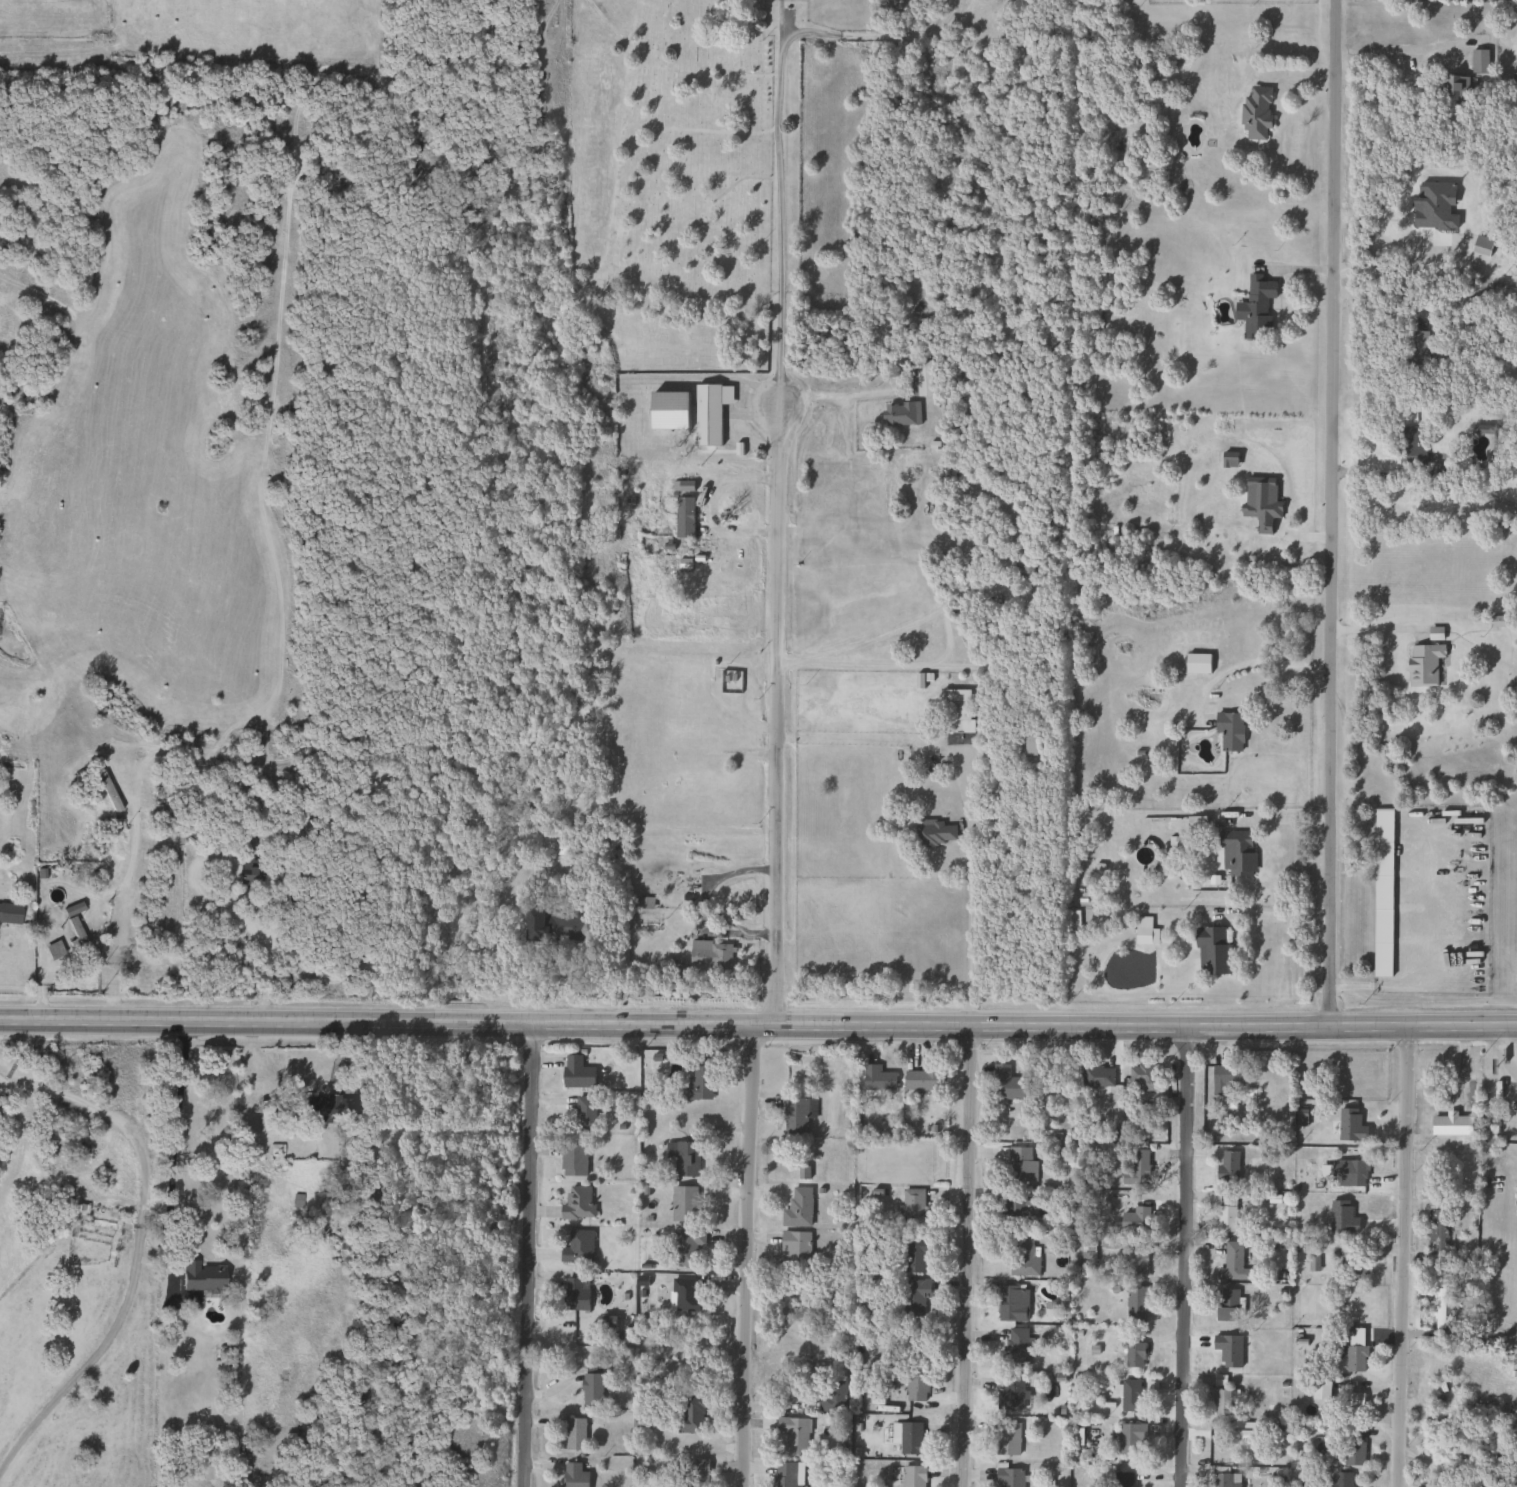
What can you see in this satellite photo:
road: (880, 35)
road: (1398, 48)
building: (1477, 61)
building: (1451, 86)
building: (1255, 113)
road: (1382, 290)
building: (1256, 306)
building: (1089, 310)
building: (1416, 347)
building: (918, 377)
road: (837, 391)
building: (708, 411)
building: (899, 413)
building: (1407, 447)
building: (1516, 478)
road: (1332, 511)
road: (778, 512)
building: (684, 517)
building: (1024, 554)
road: (1250, 661)
building: (1196, 663)
building: (1422, 664)
road: (915, 665)
building: (956, 711)
building: (1228, 730)
building: (1024, 745)
building: (677, 771)
building: (160, 794)
road: (982, 825)
building: (933, 833)
building: (1235, 853)
building: (1381, 892)
road: (701, 906)
building: (9, 913)
road: (1279, 915)
building: (1072, 920)
building: (71, 923)
building: (563, 926)
building: (1143, 931)
building: (1211, 951)
building: (709, 955)
road: (266, 962)
road: (1389, 985)
road: (758, 1025)
road: (1496, 1048)
building: (575, 1073)
building: (1096, 1076)
building: (877, 1078)
building: (1143, 1079)
building: (699, 1080)
building: (921, 1080)
building: (1225, 1081)
building: (1006, 1085)
building: (328, 1108)
building: (584, 1113)
building: (794, 1116)
building: (1450, 1125)
road: (170, 1143)
building: (572, 1160)
building: (685, 1160)
building: (1020, 1165)
building: (1137, 1165)
building: (1226, 1167)
building: (1346, 1173)
building: (576, 1203)
building: (683, 1204)
building: (797, 1208)
building: (911, 1208)
building: (1020, 1209)
building: (1225, 1216)
building: (1135, 1220)
building: (1434, 1231)
road: (139, 1247)
building: (685, 1247)
building: (793, 1247)
building: (576, 1248)
road: (1402, 1254)
road: (527, 1255)
road: (748, 1255)
road: (966, 1255)
road: (1184, 1255)
building: (914, 1256)
building: (1021, 1257)
building: (1135, 1263)
building: (1231, 1264)
building: (1352, 1267)
building: (200, 1277)
building: (574, 1294)
building: (682, 1295)
building: (912, 1297)
building: (1012, 1303)
building: (1135, 1303)
building: (1226, 1305)
building: (1436, 1309)
building: (1015, 1348)
building: (1133, 1355)
building: (1352, 1358)
building: (590, 1390)
building: (1009, 1394)
building: (831, 1395)
building: (1130, 1396)
building: (1220, 1402)
building: (1351, 1404)
building: (689, 1415)
building: (793, 1433)
building: (573, 1434)
building: (1129, 1438)
building: (911, 1439)
building: (1006, 1439)
building: (1352, 1446)
building: (695, 1474)
building: (787, 1474)
building: (573, 1475)
building: (912, 1476)
building: (1007, 1477)
building: (1221, 1477)
building: (1123, 1479)
building: (1340, 1479)
building: (1487, 1482)

